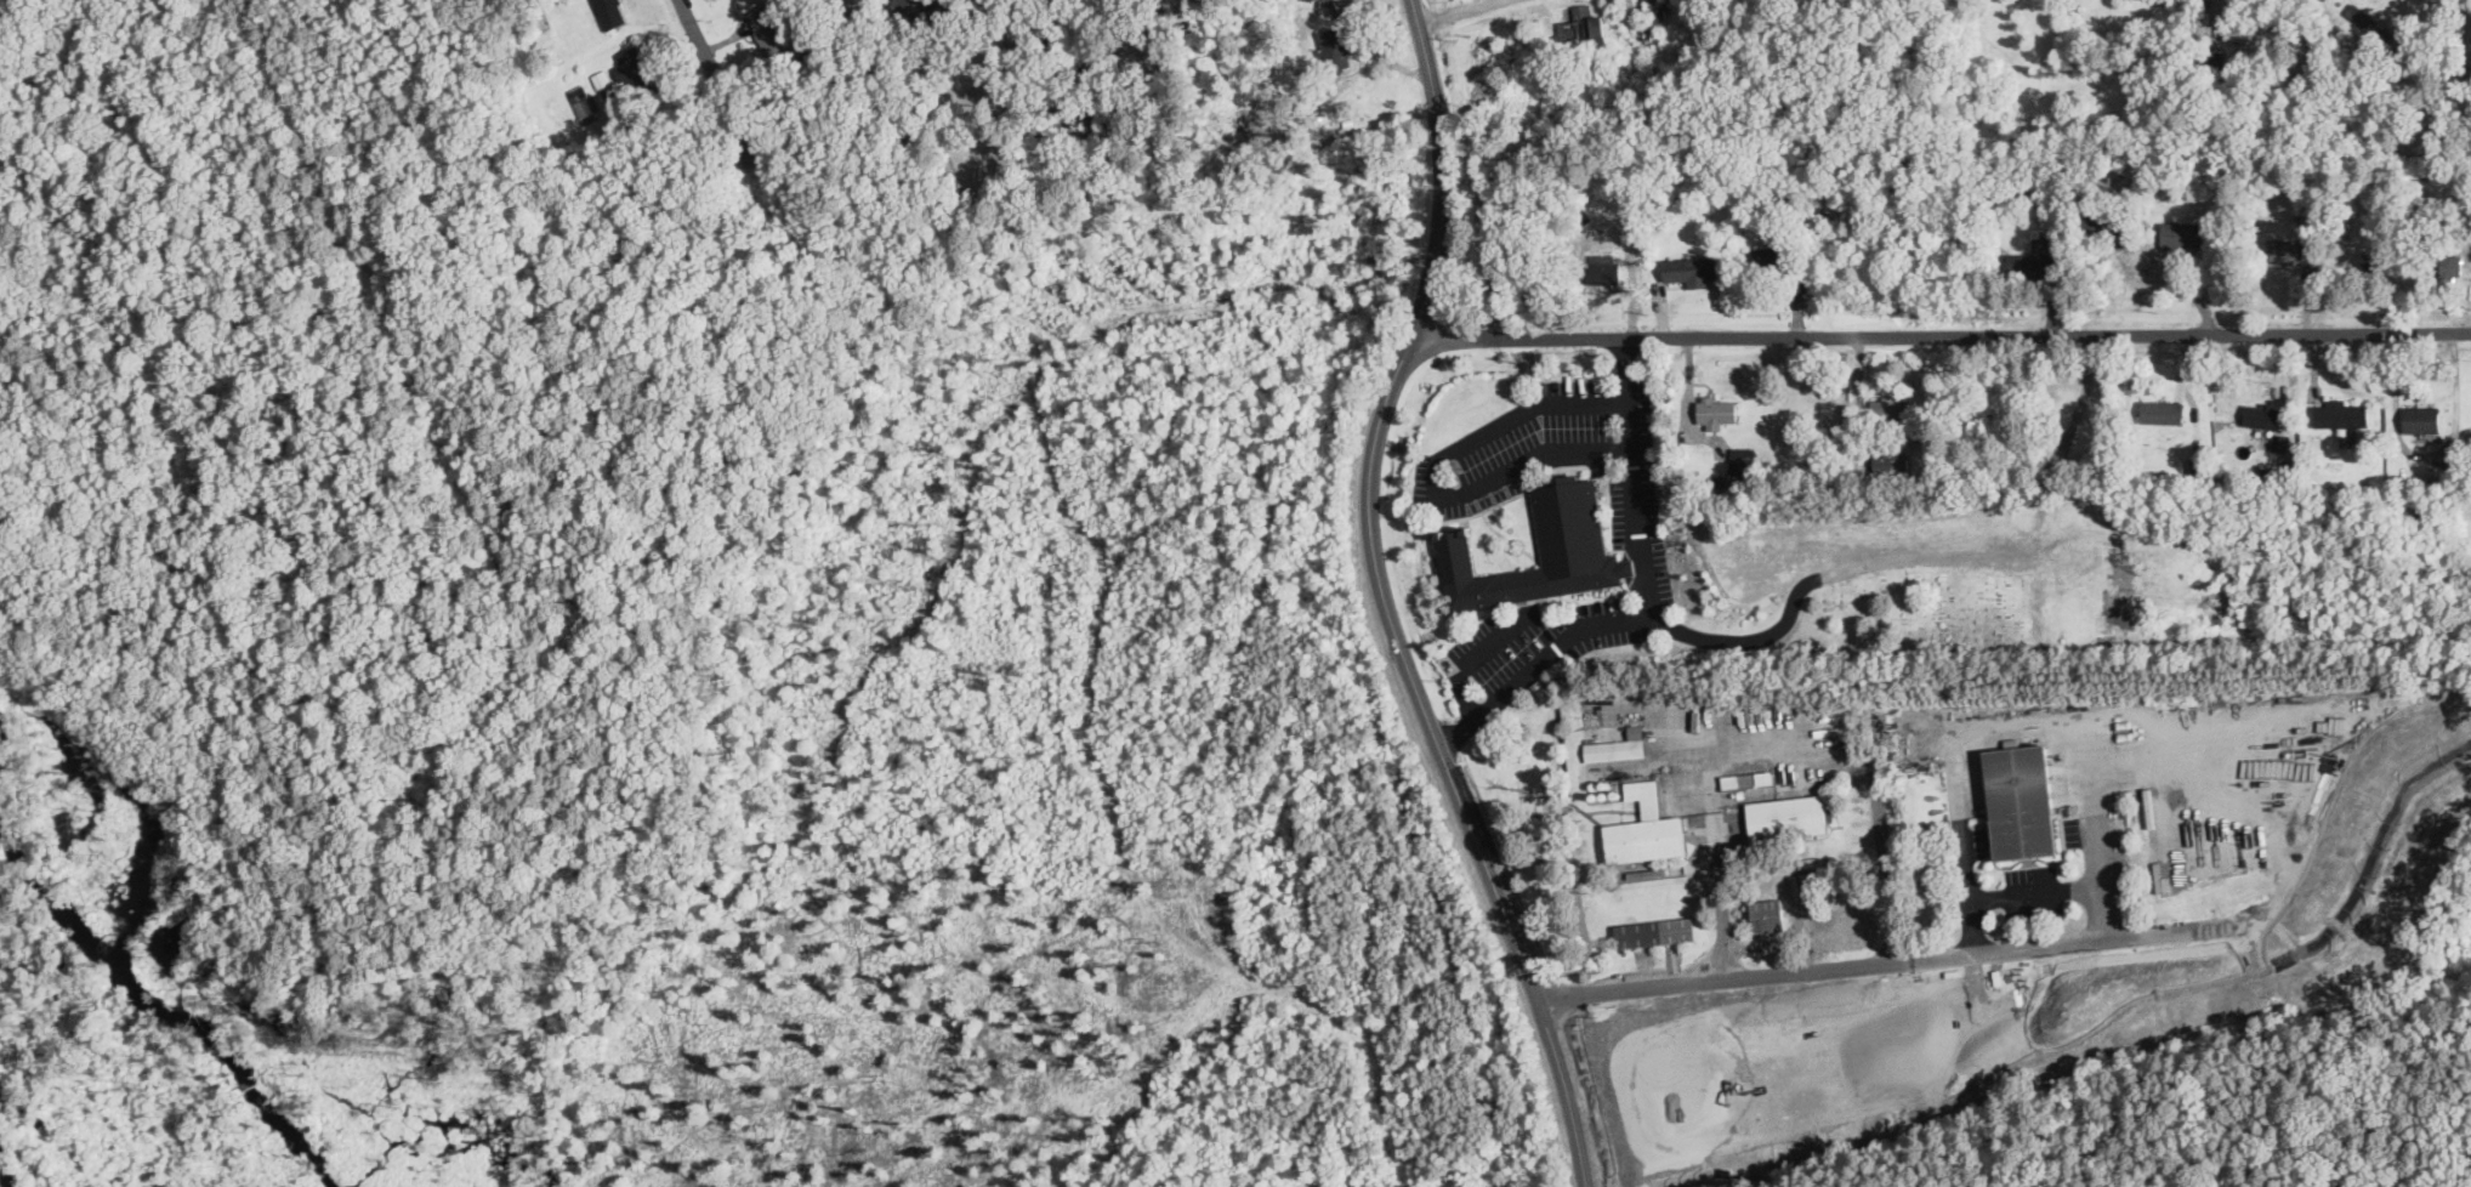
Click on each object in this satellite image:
building: (927, 7)
road: (1459, 11)
building: (612, 12)
building: (1581, 22)
building: (767, 29)
building: (2254, 32)
road: (699, 40)
building: (1335, 46)
building: (635, 69)
building: (601, 78)
building: (583, 100)
building: (2185, 233)
building: (2287, 250)
building: (1771, 255)
building: (2032, 263)
building: (2448, 265)
building: (1691, 269)
building: (1603, 271)
road: (1941, 329)
building: (1888, 407)
building: (1716, 410)
building: (2162, 410)
building: (2341, 413)
building: (2261, 415)
building: (2424, 418)
building: (2280, 441)
building: (1742, 459)
building: (1890, 460)
road: (1437, 470)
building: (1572, 543)
road: (1386, 602)
road: (1655, 602)
park: (1921, 624)
road: (1475, 655)
road: (2023, 728)
building: (1618, 745)
road: (1770, 745)
building: (2022, 800)
building: (1788, 817)
building: (1645, 827)
road: (2035, 891)
building: (1654, 931)
road: (1907, 959)
building: (1908, 1015)
building: (1932, 1015)
building: (1847, 1078)
building: (1922, 1086)

